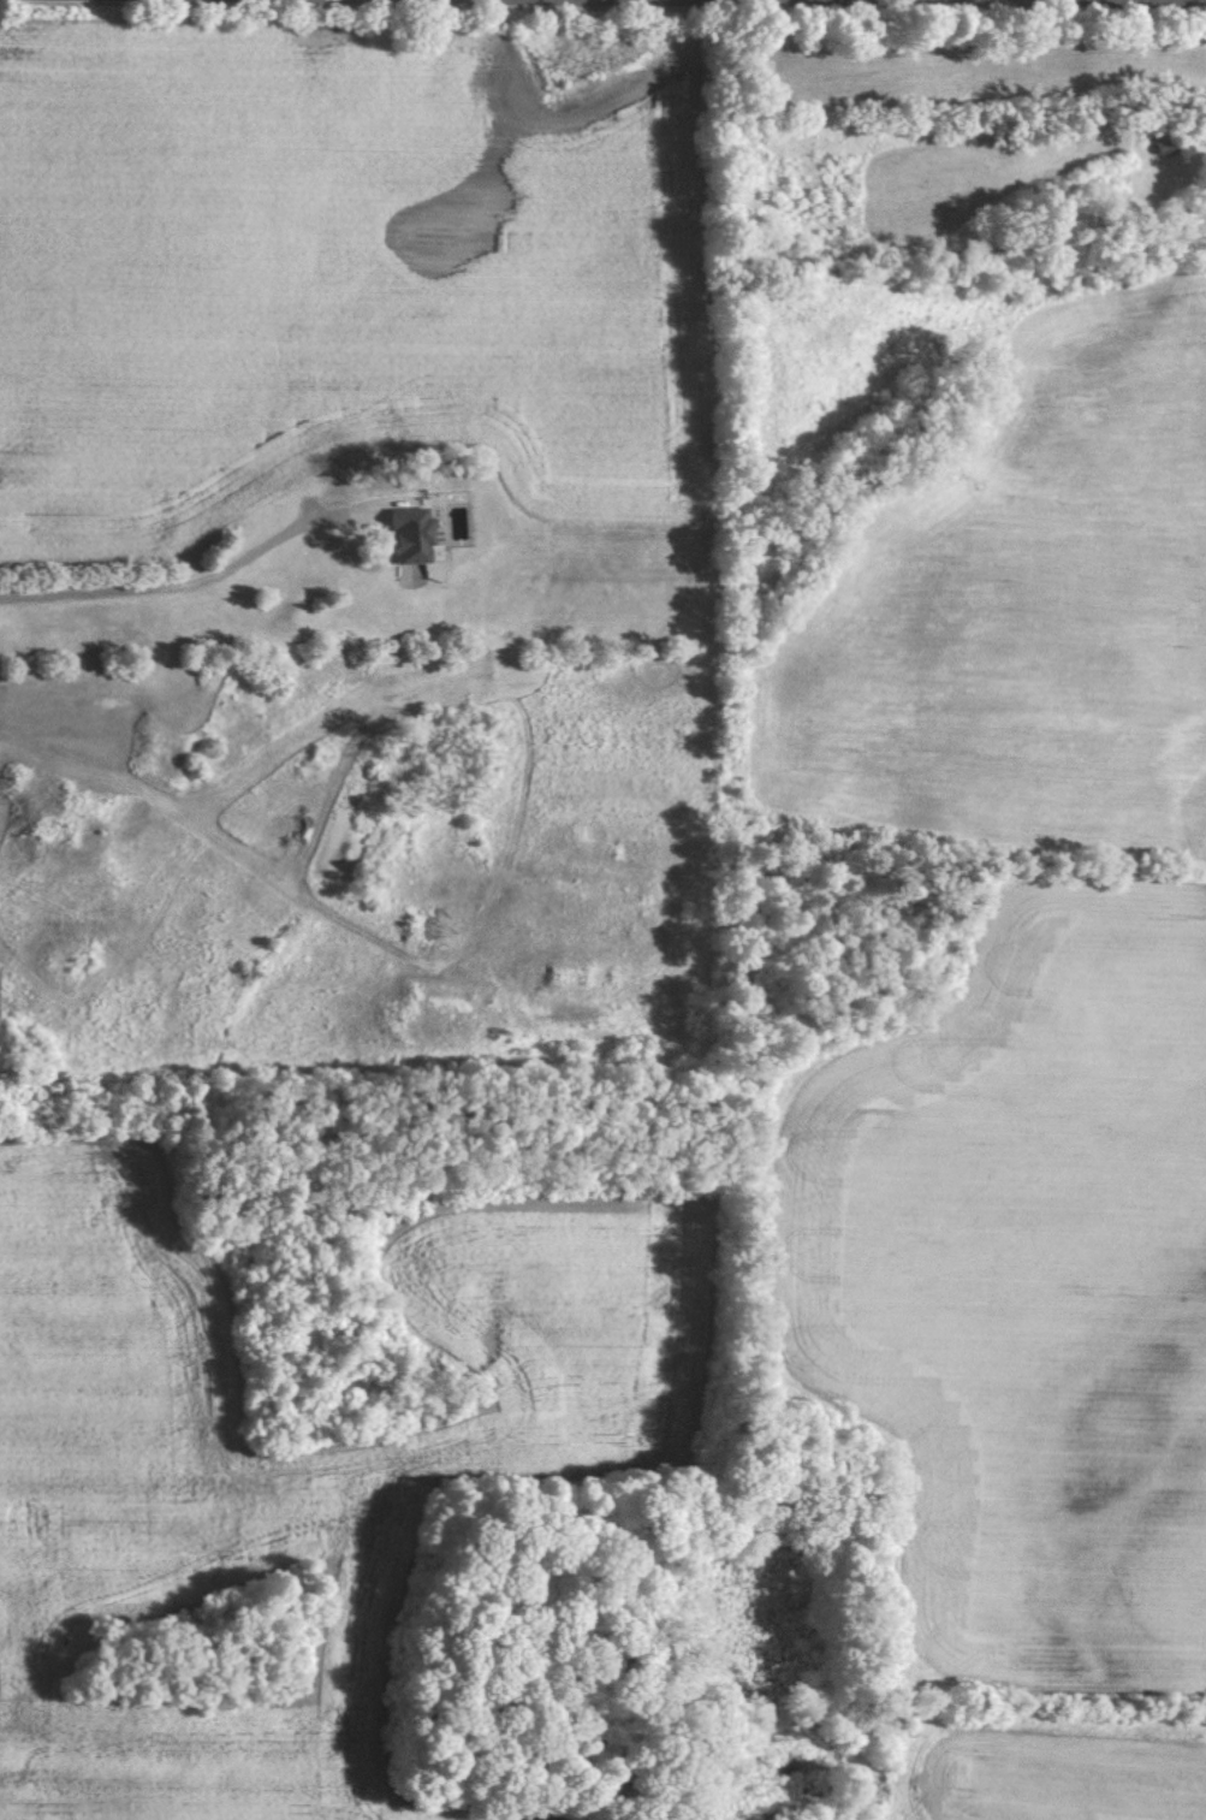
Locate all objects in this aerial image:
building: (1163, 142)
building: (406, 533)
road: (190, 585)

